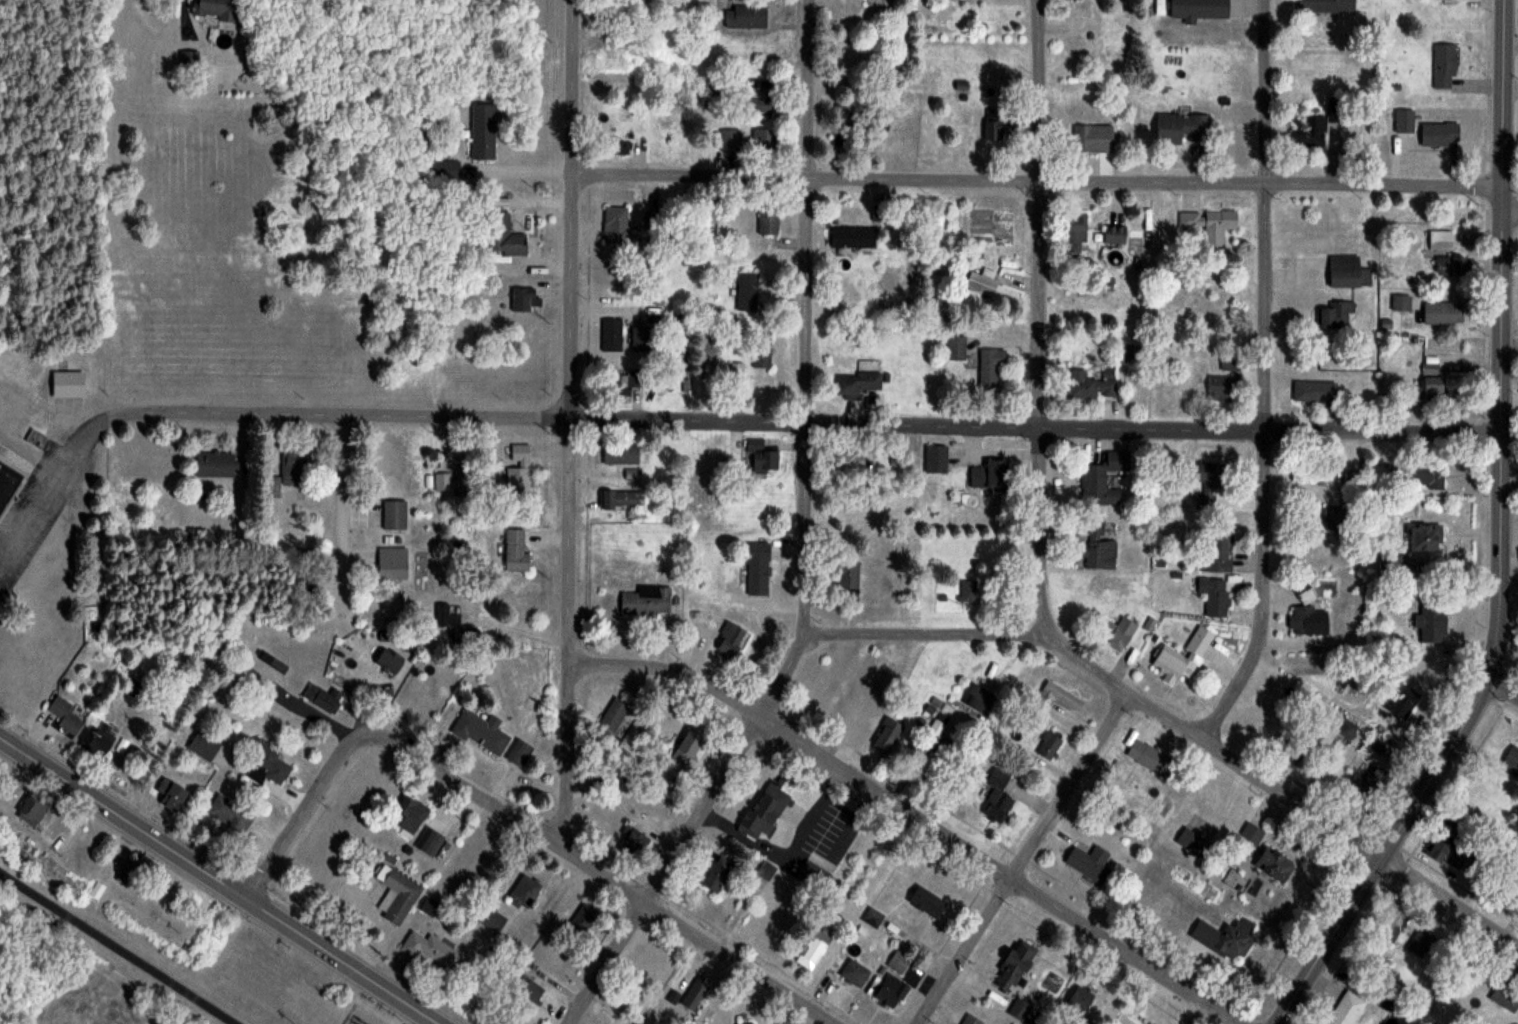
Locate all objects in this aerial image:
building: (1452, 0)
building: (1327, 4)
building: (216, 9)
building: (1198, 9)
building: (745, 16)
building: (613, 54)
building: (189, 60)
building: (1444, 65)
road: (1503, 93)
building: (709, 96)
building: (759, 105)
building: (1404, 120)
building: (994, 124)
building: (1180, 127)
building: (482, 130)
building: (1310, 133)
building: (1440, 133)
building: (1093, 138)
building: (745, 141)
building: (624, 148)
building: (444, 168)
road: (1037, 178)
road: (1510, 210)
building: (708, 218)
building: (767, 220)
building: (1210, 224)
building: (615, 225)
building: (1074, 229)
building: (1114, 233)
building: (502, 235)
building: (852, 237)
building: (1440, 240)
building: (1450, 265)
building: (1344, 271)
building: (982, 282)
building: (747, 291)
building: (522, 299)
building: (1401, 303)
building: (1443, 313)
building: (1336, 315)
road: (805, 320)
road: (1038, 320)
building: (611, 334)
building: (640, 338)
building: (956, 348)
building: (761, 352)
building: (990, 367)
building: (736, 372)
road: (1265, 377)
building: (67, 384)
building: (620, 384)
building: (856, 384)
building: (1091, 384)
building: (1221, 388)
building: (1436, 390)
building: (1315, 391)
road: (804, 421)
road: (569, 422)
building: (620, 454)
building: (762, 456)
building: (935, 459)
building: (848, 462)
building: (293, 463)
building: (214, 464)
building: (518, 470)
building: (1312, 474)
building: (988, 475)
building: (1425, 477)
building: (1103, 478)
building: (8, 483)
road: (49, 484)
building: (1207, 484)
road: (342, 498)
building: (621, 499)
building: (394, 515)
building: (1334, 518)
building: (1424, 538)
building: (1098, 548)
building: (516, 551)
building: (1220, 553)
building: (392, 563)
building: (757, 567)
building: (847, 575)
building: (972, 590)
building: (1303, 590)
building: (1217, 597)
building: (646, 601)
building: (1308, 620)
building: (1432, 622)
building: (454, 624)
building: (1118, 633)
road: (1498, 635)
building: (731, 642)
building: (1183, 656)
building: (389, 661)
road: (1502, 687)
building: (1054, 696)
building: (324, 698)
building: (980, 699)
building: (856, 701)
building: (1402, 701)
building: (65, 716)
building: (609, 722)
road: (1178, 723)
building: (480, 731)
building: (887, 735)
building: (97, 740)
building: (203, 745)
building: (1048, 747)
building: (689, 748)
building: (519, 753)
building: (1148, 756)
building: (1512, 758)
building: (269, 767)
building: (1380, 777)
building: (997, 797)
building: (171, 800)
building: (32, 809)
building: (763, 812)
road: (302, 813)
building: (410, 813)
building: (230, 814)
road: (914, 815)
road: (686, 833)
building: (1249, 839)
building: (1190, 840)
building: (431, 843)
building: (635, 843)
building: (1439, 849)
road: (1022, 858)
building: (1087, 860)
building: (1273, 863)
building: (766, 871)
building: (127, 872)
road: (599, 874)
building: (714, 874)
road: (219, 880)
building: (396, 893)
building: (523, 893)
building: (927, 901)
building: (872, 916)
building: (581, 920)
building: (1392, 925)
building: (1229, 936)
building: (814, 946)
road: (117, 948)
building: (432, 950)
building: (898, 961)
building: (1013, 965)
building: (854, 972)
building: (891, 990)
building: (532, 992)
building: (696, 993)
building: (1506, 994)
building: (1079, 998)
building: (1020, 1008)
building: (1346, 1008)
power substation: (360, 1017)
building: (971, 1019)
building: (746, 1022)

